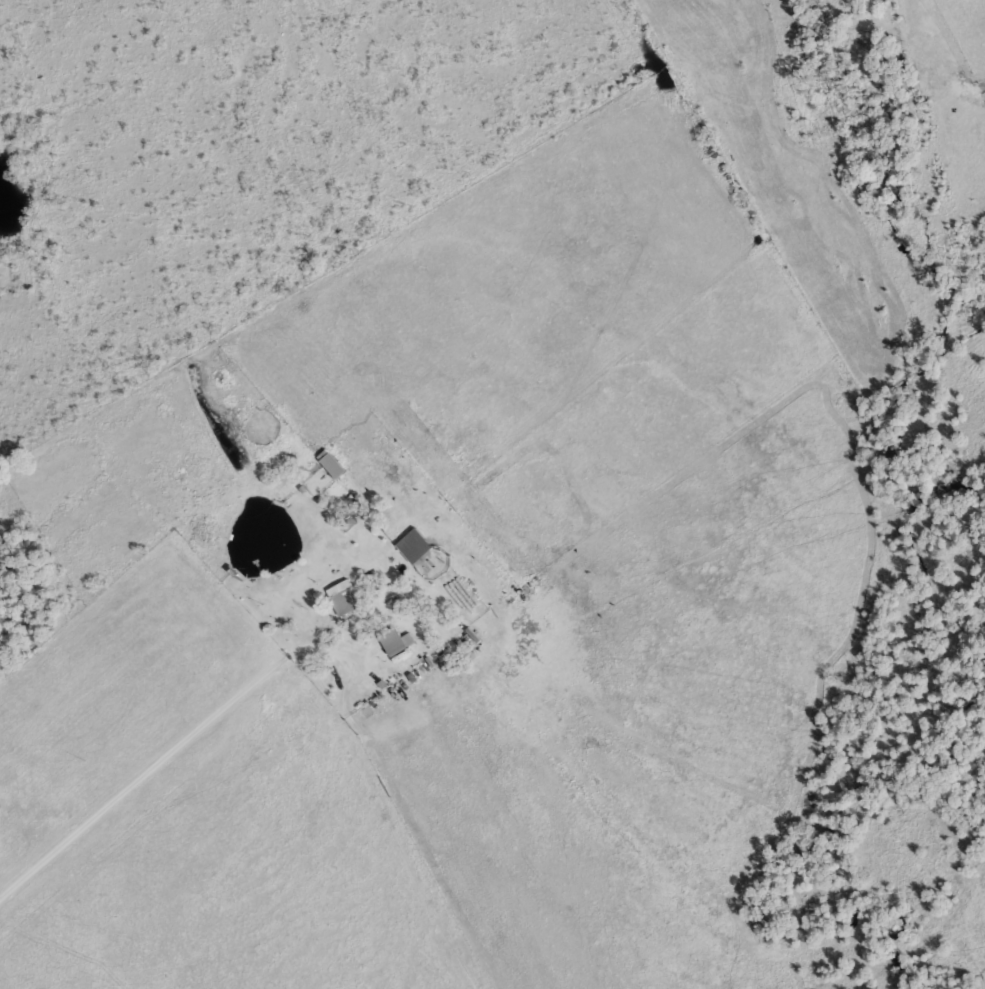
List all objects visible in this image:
building: (420, 547)
building: (428, 565)

